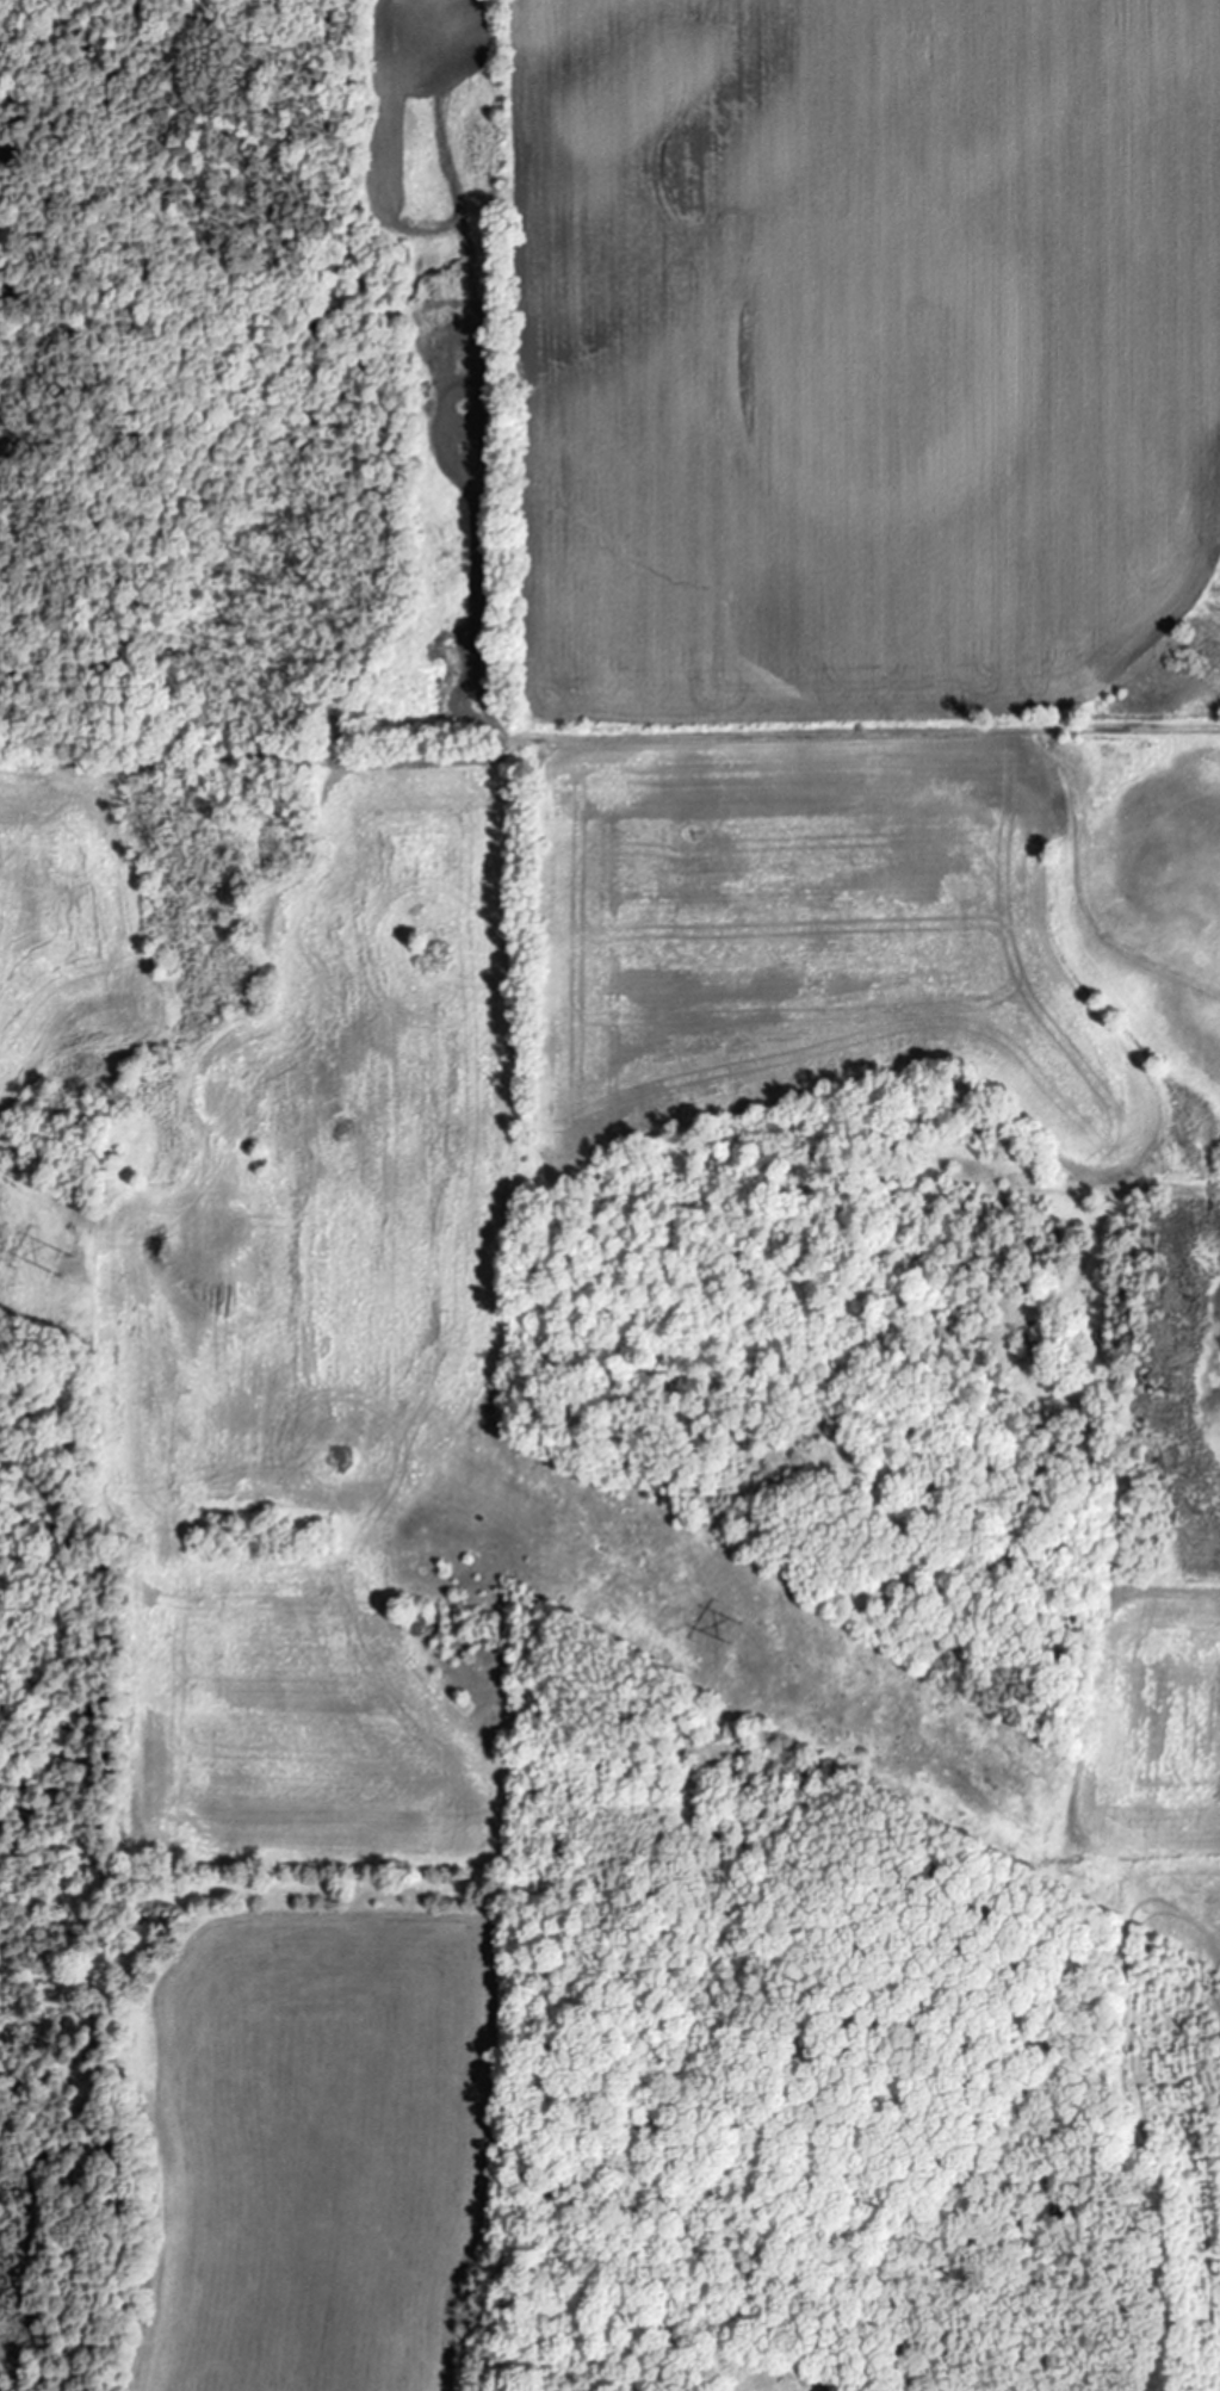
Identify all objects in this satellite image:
power tower: (68, 1265)
power tower: (733, 1634)

